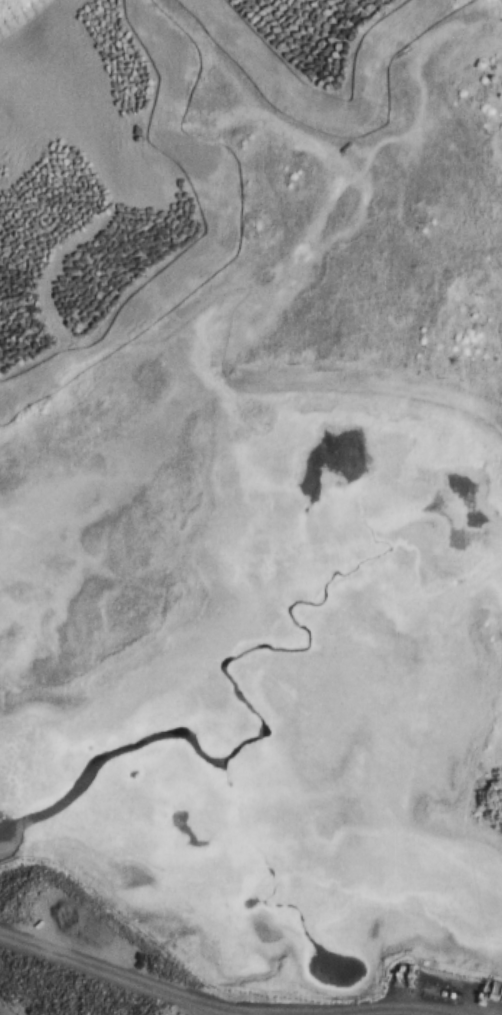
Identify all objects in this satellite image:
road: (107, 971)
parking lot: (400, 1013)

